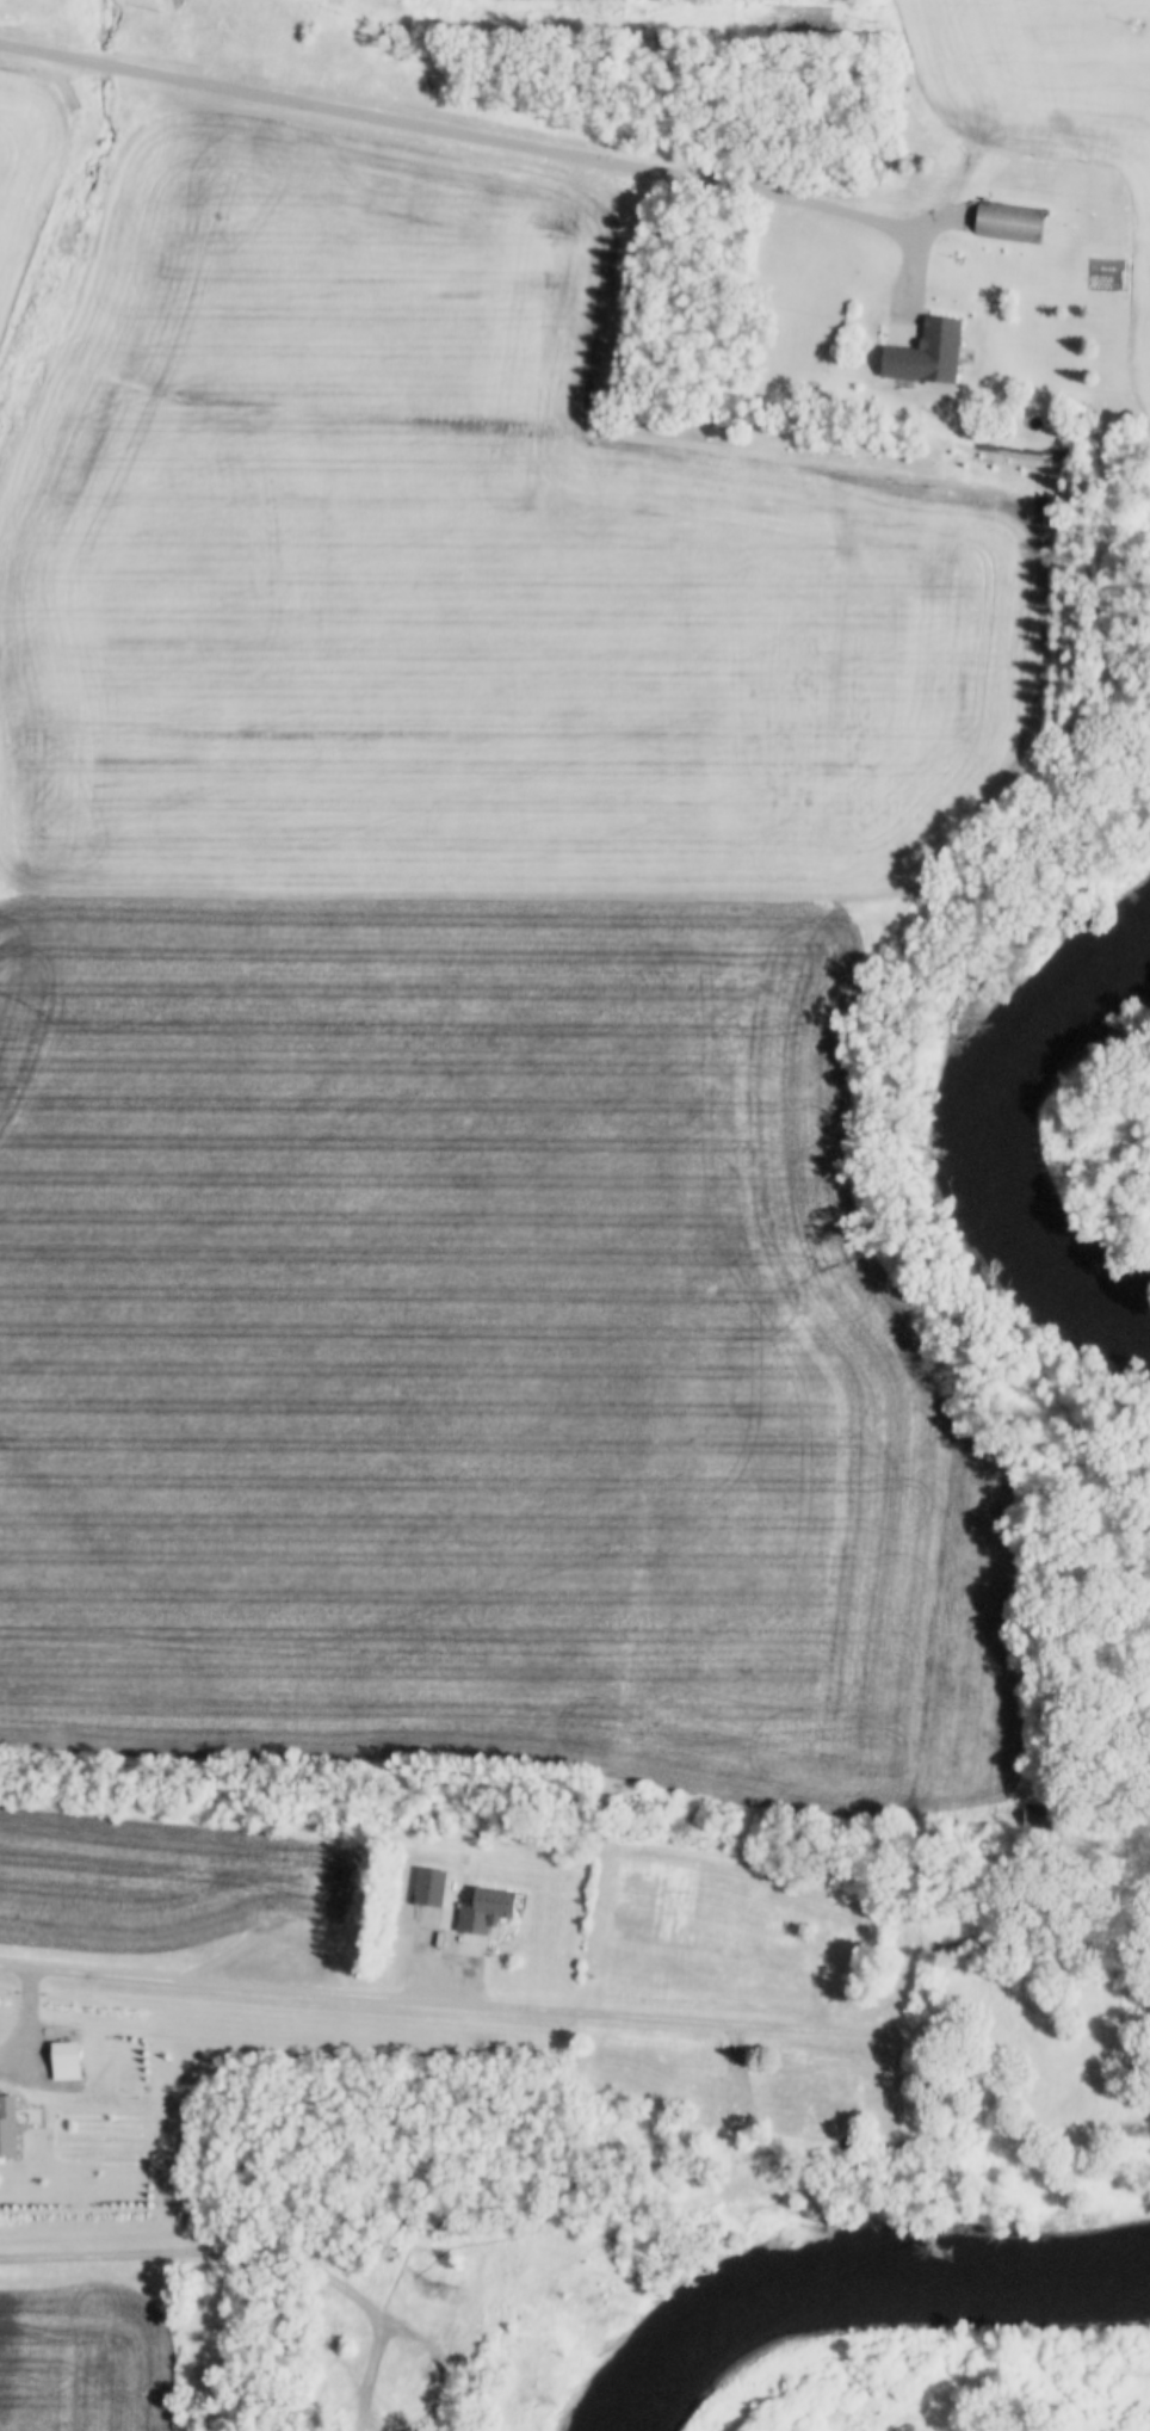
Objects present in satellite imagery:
road: (493, 144)
building: (1013, 222)
building: (885, 323)
building: (934, 353)
river: (1033, 1159)
building: (1045, 1816)
building: (434, 1884)
building: (491, 1908)
building: (821, 1956)
building: (1016, 1998)
road: (406, 2003)
building: (70, 2060)
building: (728, 2104)
building: (11, 2122)
road: (198, 2257)
building: (491, 2287)
river: (876, 2288)
building: (333, 2328)
road: (394, 2331)

